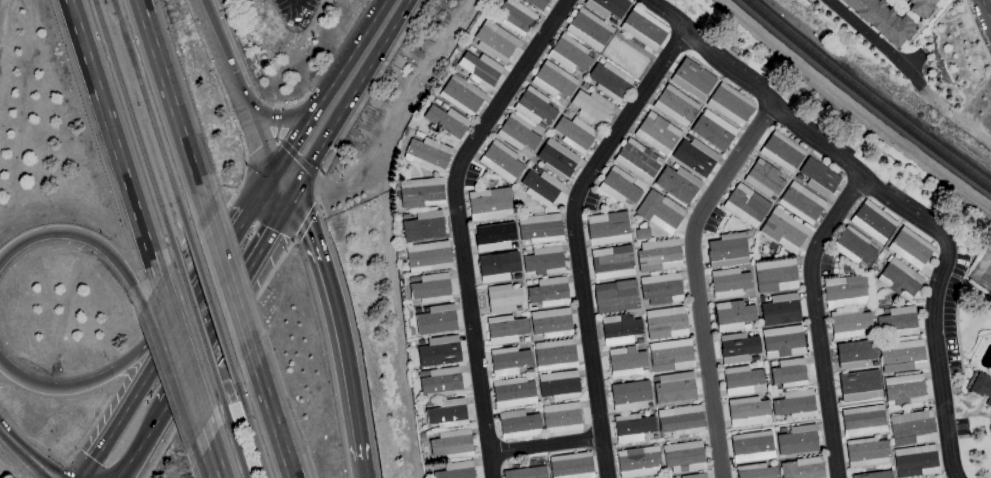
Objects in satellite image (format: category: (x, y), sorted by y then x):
building: (537, 4)
railway: (115, 6)
building: (608, 7)
building: (920, 7)
road: (986, 10)
road: (664, 14)
building: (515, 17)
building: (881, 21)
building: (612, 22)
building: (589, 29)
building: (644, 29)
road: (976, 30)
road: (871, 38)
building: (495, 41)
building: (471, 49)
building: (570, 54)
building: (626, 54)
building: (481, 70)
building: (693, 79)
building: (553, 81)
building: (609, 81)
road: (328, 84)
building: (584, 86)
building: (462, 95)
road: (350, 96)
railway: (869, 96)
road: (242, 97)
road: (361, 100)
building: (437, 102)
railway: (861, 102)
road: (171, 103)
road: (292, 104)
building: (730, 105)
building: (675, 106)
building: (444, 107)
building: (534, 107)
building: (591, 107)
railway: (152, 115)
road: (283, 118)
building: (447, 123)
railway: (136, 126)
building: (713, 130)
building: (574, 133)
building: (517, 134)
building: (657, 134)
building: (419, 135)
building: (688, 138)
road: (112, 140)
road: (284, 147)
building: (782, 152)
building: (428, 154)
building: (696, 157)
building: (557, 159)
building: (500, 161)
building: (638, 161)
traffic signals: (274, 169)
parking lot: (469, 175)
building: (798, 177)
building: (819, 178)
building: (764, 179)
building: (678, 184)
building: (541, 187)
building: (619, 187)
road: (262, 191)
traffic signals: (291, 191)
building: (421, 194)
parking lot: (589, 200)
building: (801, 203)
building: (489, 204)
building: (746, 205)
building: (660, 211)
road: (906, 211)
parking lot: (712, 220)
building: (873, 222)
road: (305, 223)
road: (456, 223)
building: (423, 227)
building: (541, 228)
building: (608, 229)
building: (784, 230)
building: (642, 234)
road: (83, 235)
building: (494, 236)
road: (573, 237)
building: (513, 245)
building: (853, 246)
building: (910, 248)
building: (399, 249)
building: (727, 253)
building: (659, 256)
building: (428, 257)
building: (544, 261)
building: (613, 263)
parking lot: (825, 263)
building: (497, 266)
building: (860, 266)
building: (846, 269)
road: (215, 270)
park: (982, 273)
road: (951, 275)
building: (775, 276)
road: (226, 277)
road: (695, 279)
building: (899, 279)
building: (729, 283)
road: (971, 286)
building: (430, 288)
building: (661, 289)
building: (846, 291)
building: (548, 292)
building: (616, 297)
road: (228, 298)
building: (503, 299)
railway: (210, 304)
building: (780, 310)
building: (417, 311)
parking lot: (951, 311)
building: (734, 316)
building: (436, 320)
road: (815, 321)
road: (337, 323)
building: (551, 323)
building: (666, 323)
building: (849, 323)
building: (897, 323)
railway: (196, 325)
road: (956, 328)
building: (505, 329)
building: (620, 329)
building: (526, 339)
building: (639, 341)
building: (419, 342)
building: (783, 342)
road: (143, 347)
building: (738, 348)
building: (439, 351)
road: (180, 352)
building: (855, 354)
building: (554, 355)
building: (671, 355)
building: (902, 356)
road: (947, 358)
road: (219, 359)
building: (508, 361)
building: (627, 362)
building: (874, 364)
road: (960, 364)
building: (529, 370)
road: (981, 370)
road: (166, 372)
building: (789, 373)
road: (147, 379)
building: (743, 380)
building: (439, 382)
building: (559, 385)
building: (860, 386)
building: (982, 387)
building: (674, 388)
building: (904, 390)
building: (514, 393)
building: (630, 396)
road: (978, 403)
building: (428, 404)
building: (794, 404)
building: (748, 412)
road: (269, 413)
building: (448, 414)
road: (967, 414)
building: (561, 418)
building: (681, 421)
building: (863, 421)
building: (519, 424)
railway: (250, 426)
road: (240, 427)
parking lot: (960, 427)
building: (632, 428)
building: (912, 428)
railway: (232, 437)
building: (421, 437)
building: (798, 440)
road: (143, 441)
building: (452, 444)
road: (544, 444)
building: (751, 447)
railway: (250, 450)
road: (212, 451)
building: (866, 452)
road: (27, 453)
road: (98, 454)
building: (684, 456)
building: (916, 461)
building: (638, 462)
building: (436, 466)
building: (572, 466)
building: (803, 468)
road: (361, 469)
building: (456, 470)
building: (756, 471)
building: (526, 473)
building: (875, 475)
building: (694, 476)

